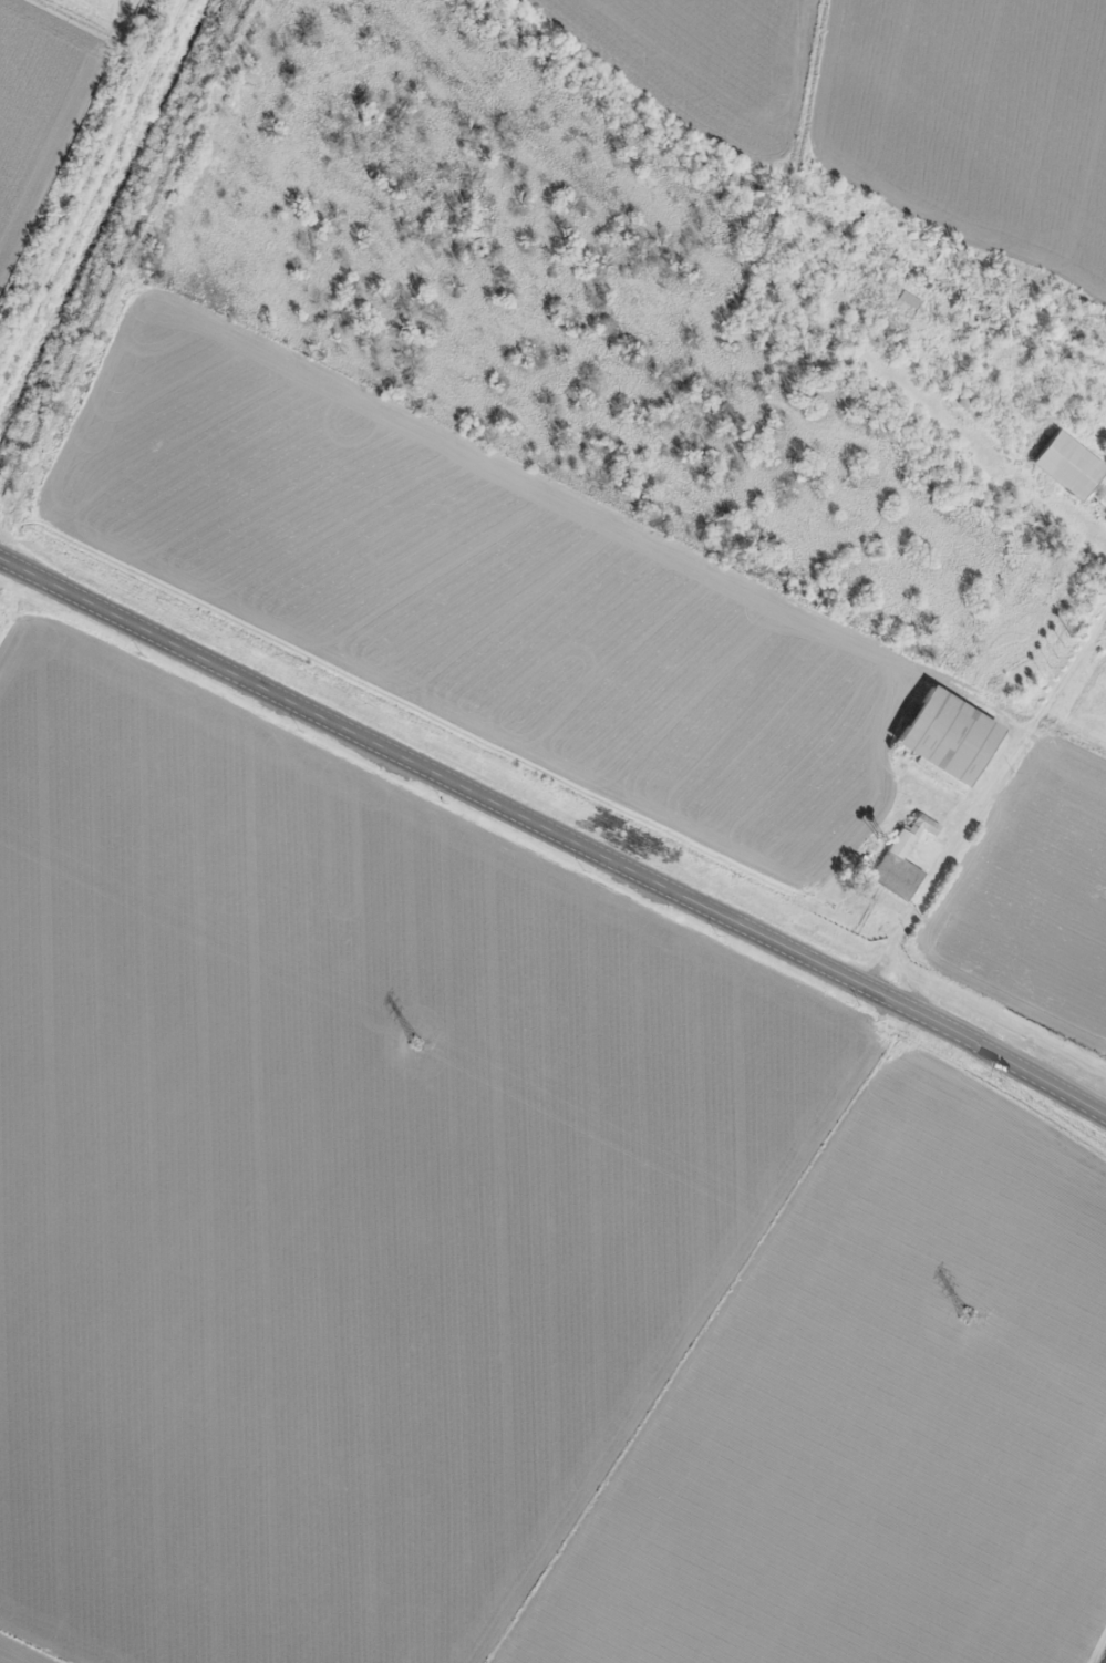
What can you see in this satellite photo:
road: (554, 826)
power tower: (416, 1043)
power tower: (968, 1318)

